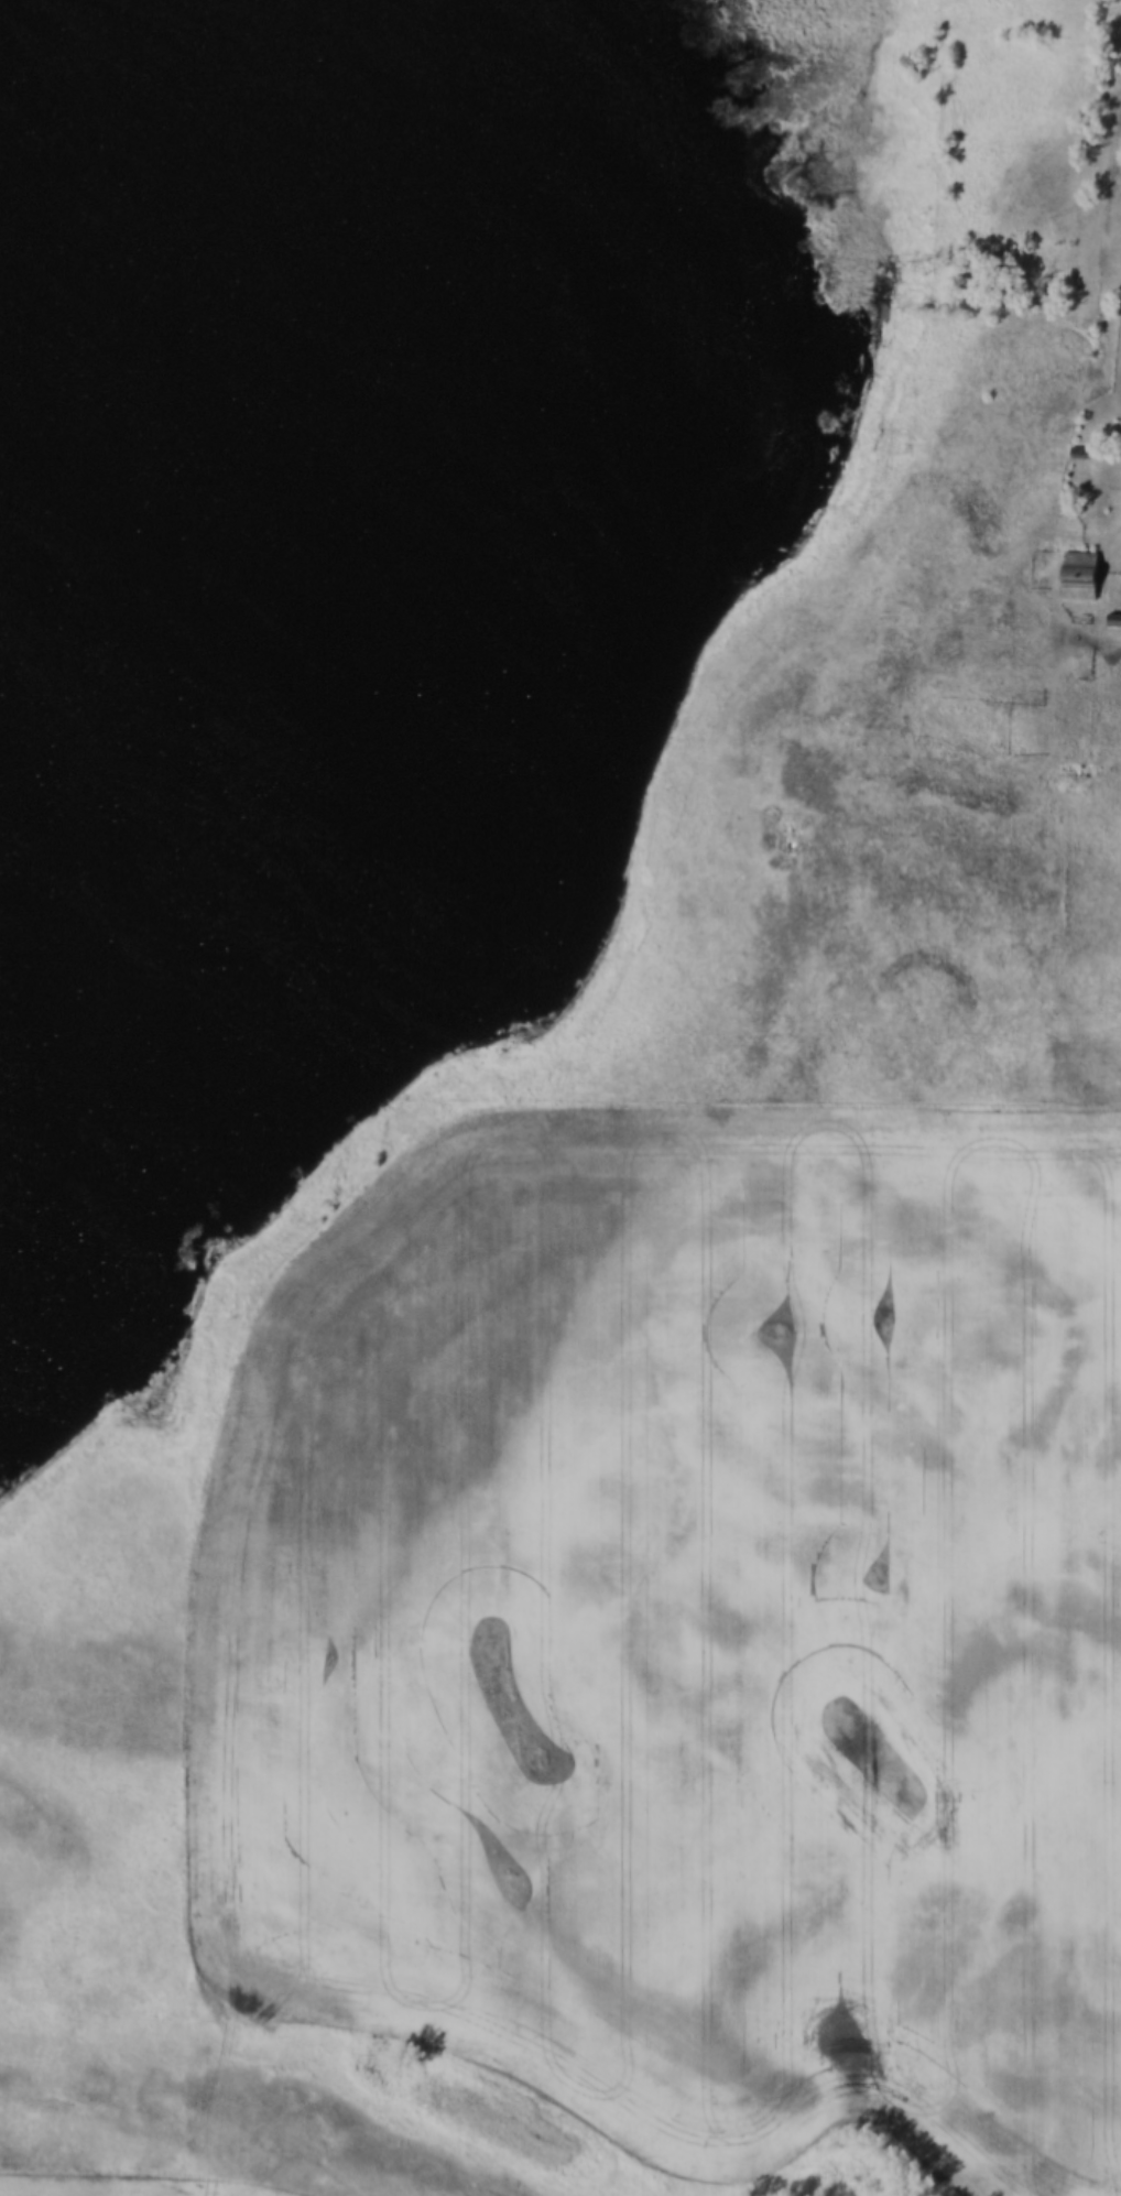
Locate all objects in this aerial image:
building: (894, 439)
building: (1081, 452)
road: (1119, 545)
building: (1080, 574)
building: (1114, 619)
building: (986, 640)

